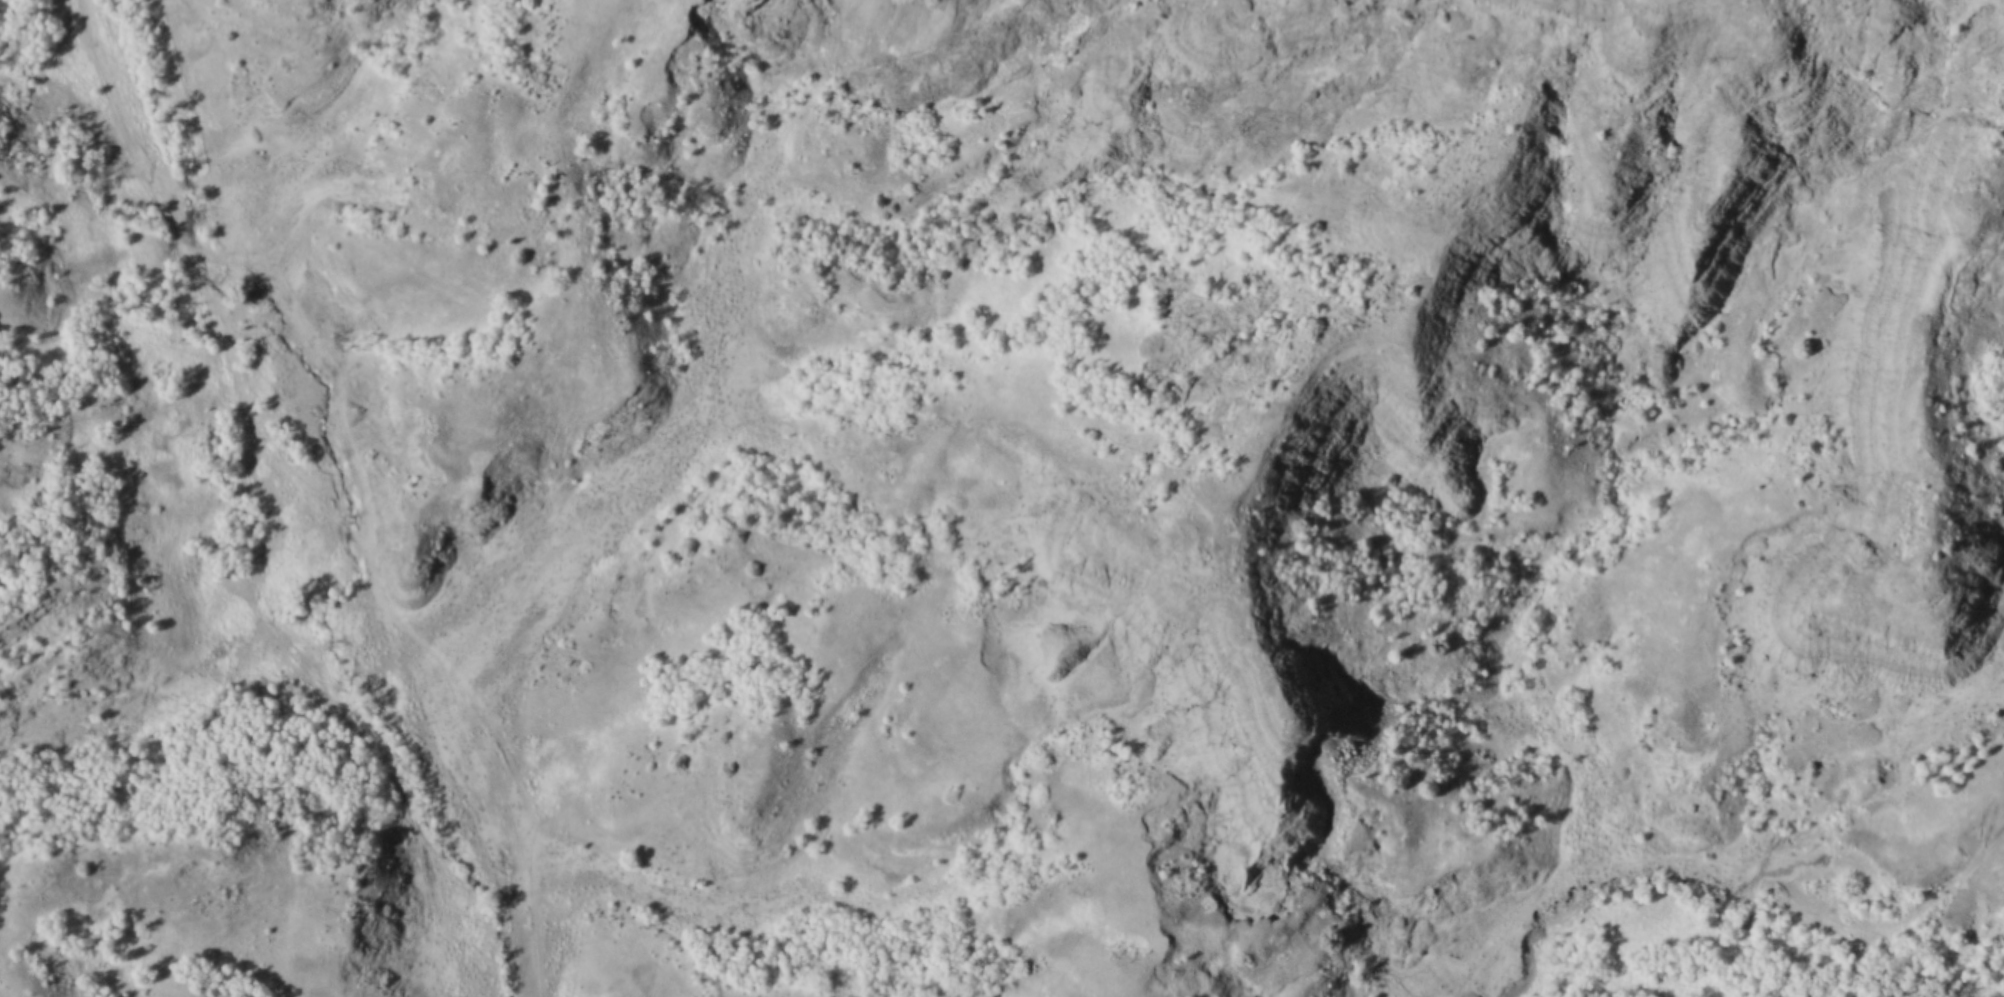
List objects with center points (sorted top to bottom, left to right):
road: (212, 164)
road: (357, 461)
road: (498, 737)

